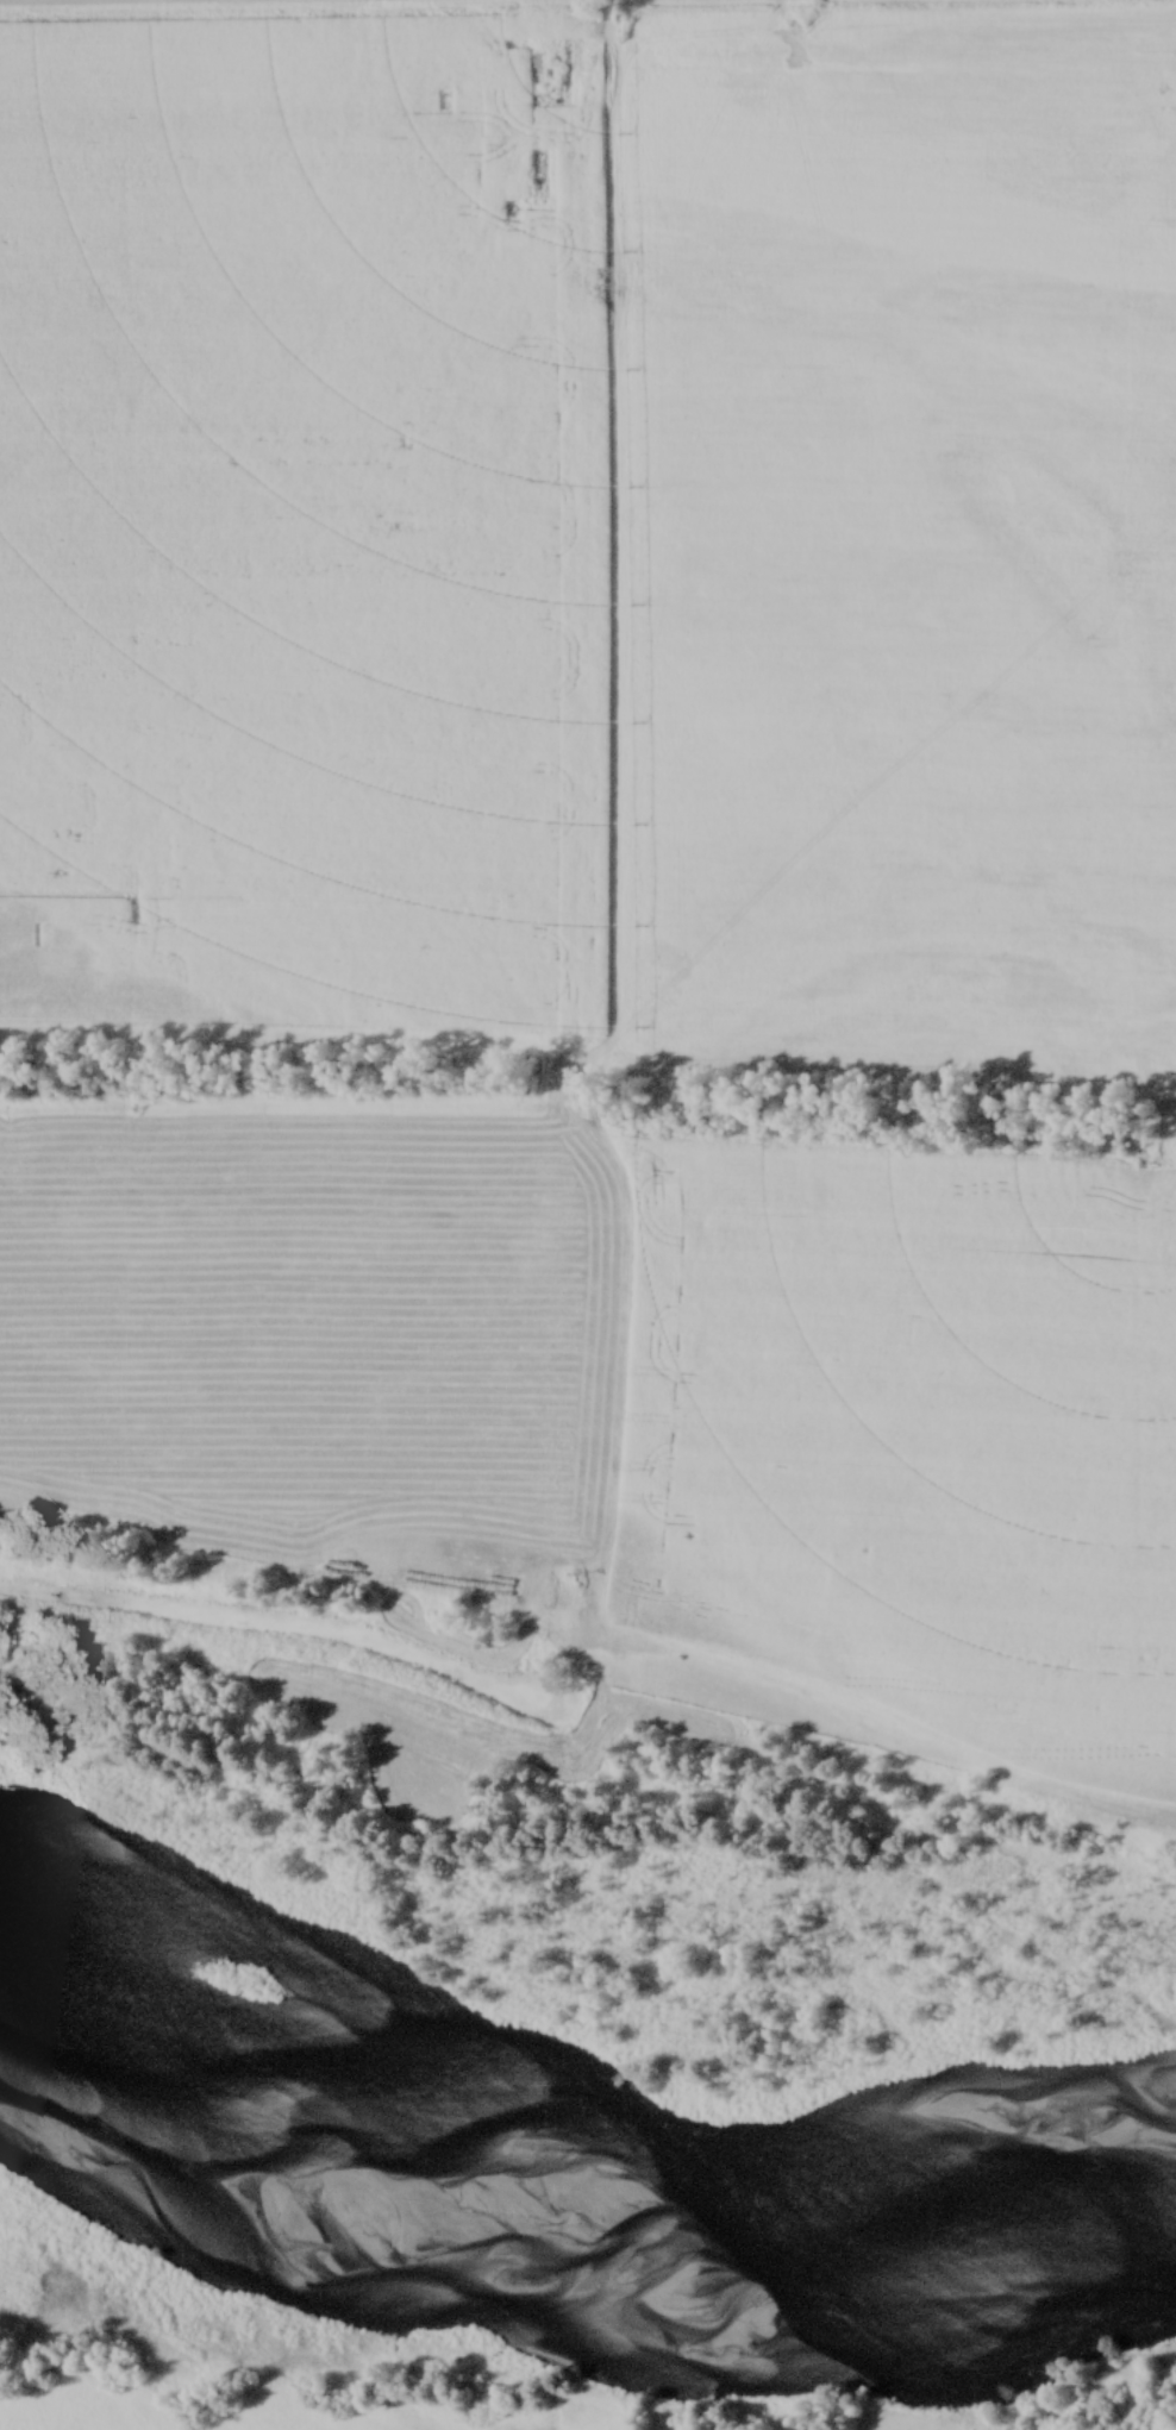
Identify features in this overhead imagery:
building: (539, 74)
river: (301, 1947)
river: (832, 2313)

